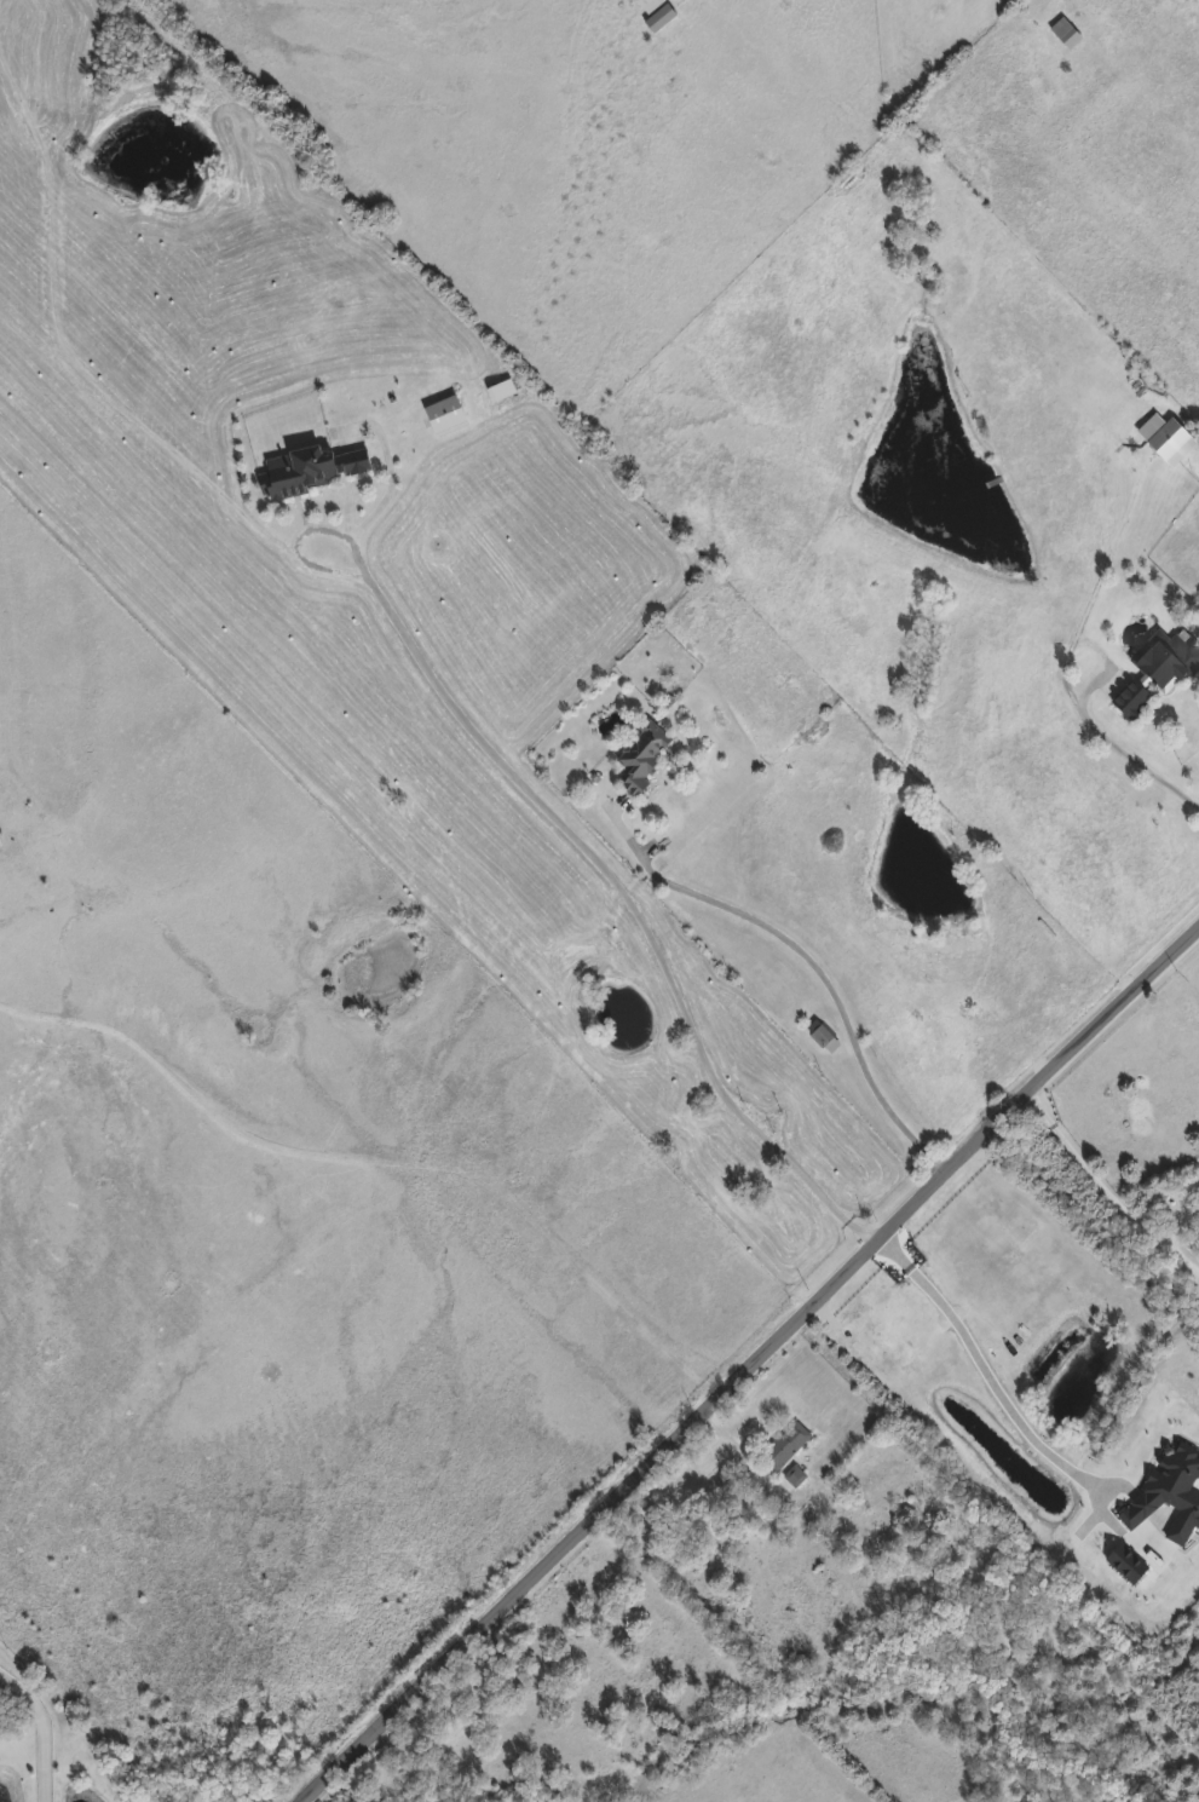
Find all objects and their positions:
building: (657, 13)
building: (1067, 35)
building: (502, 391)
building: (448, 416)
building: (1182, 443)
building: (315, 470)
road: (301, 559)
road: (1063, 670)
building: (1161, 672)
building: (642, 758)
road: (618, 888)
road: (808, 957)
building: (824, 1037)
building: (751, 1169)
road: (1105, 1188)
road: (748, 1365)
road: (980, 1371)
building: (786, 1447)
building: (796, 1480)
road: (41, 1728)

